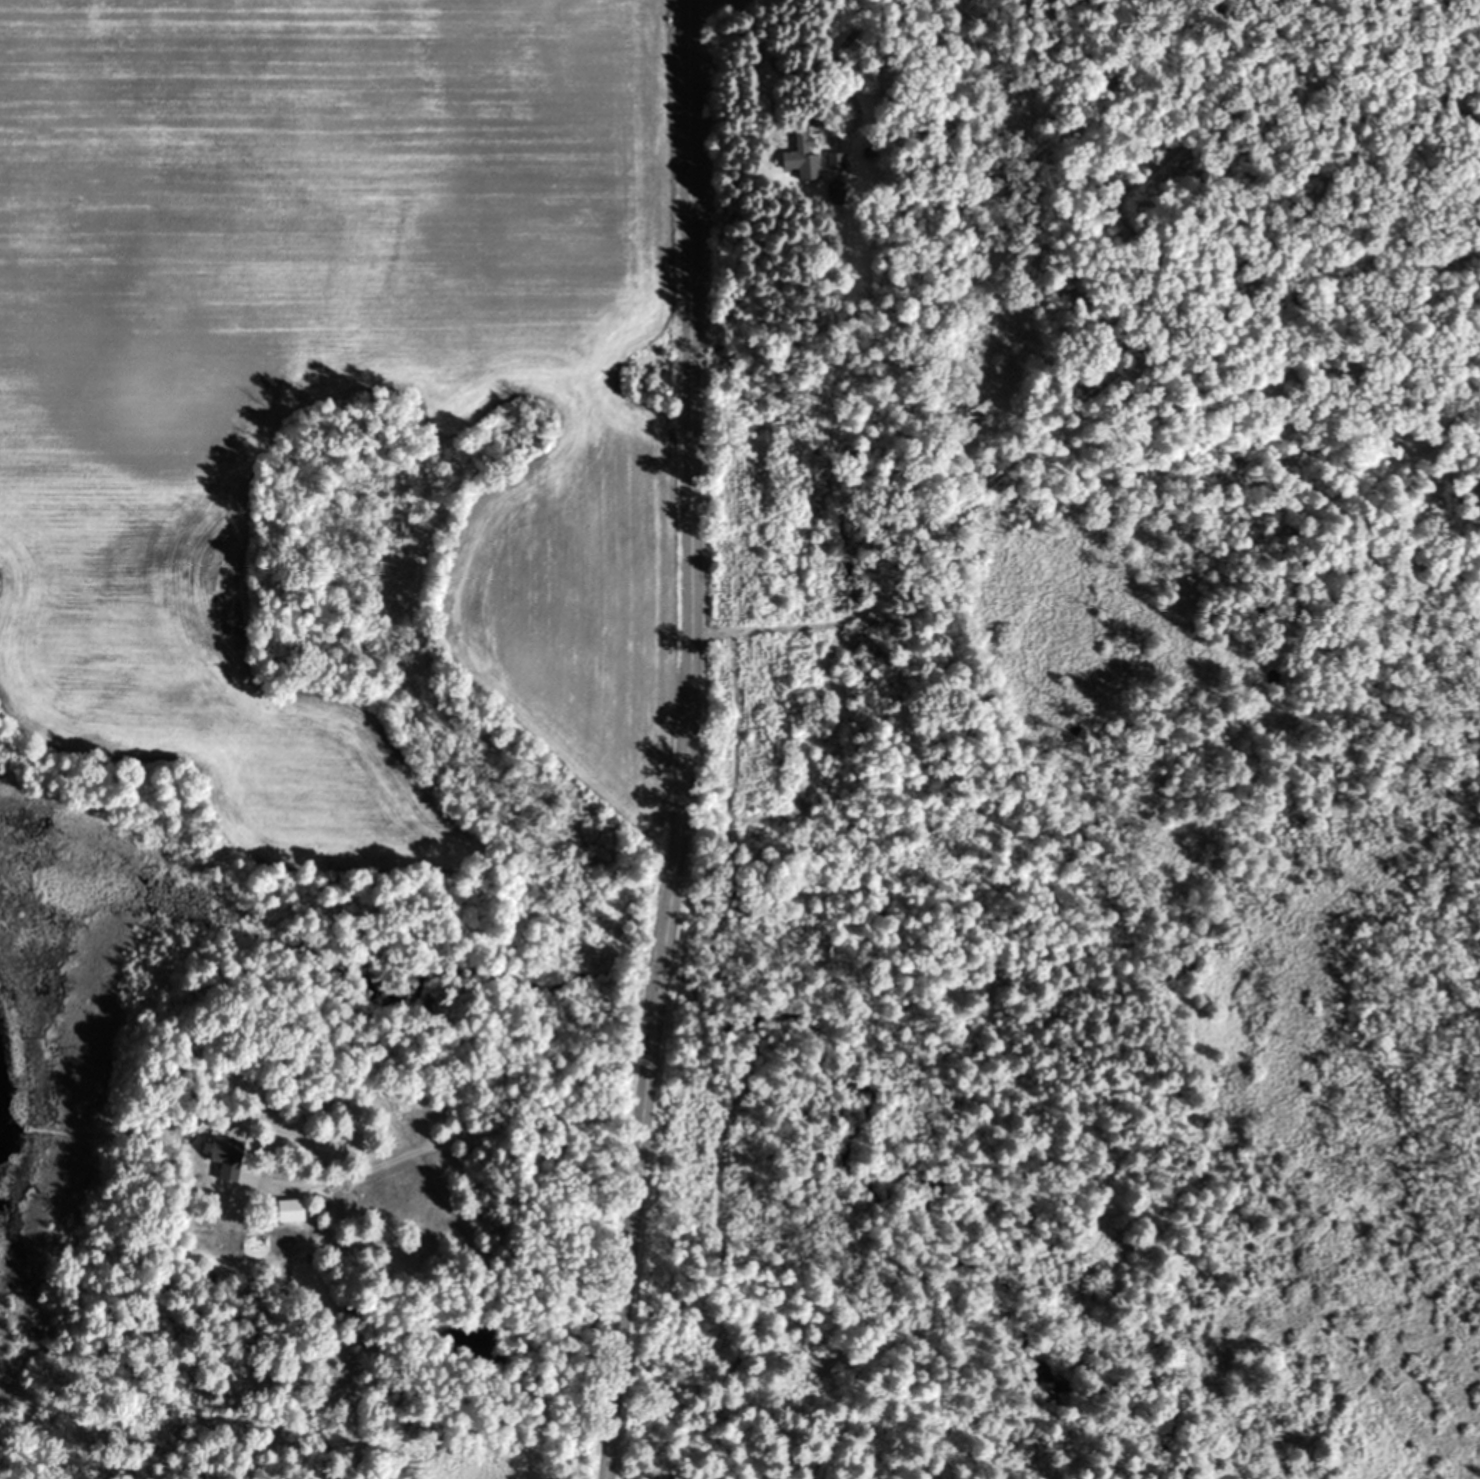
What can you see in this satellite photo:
building: (798, 160)
building: (833, 160)
road: (685, 741)
road: (454, 1138)
building: (227, 1158)
building: (291, 1210)

